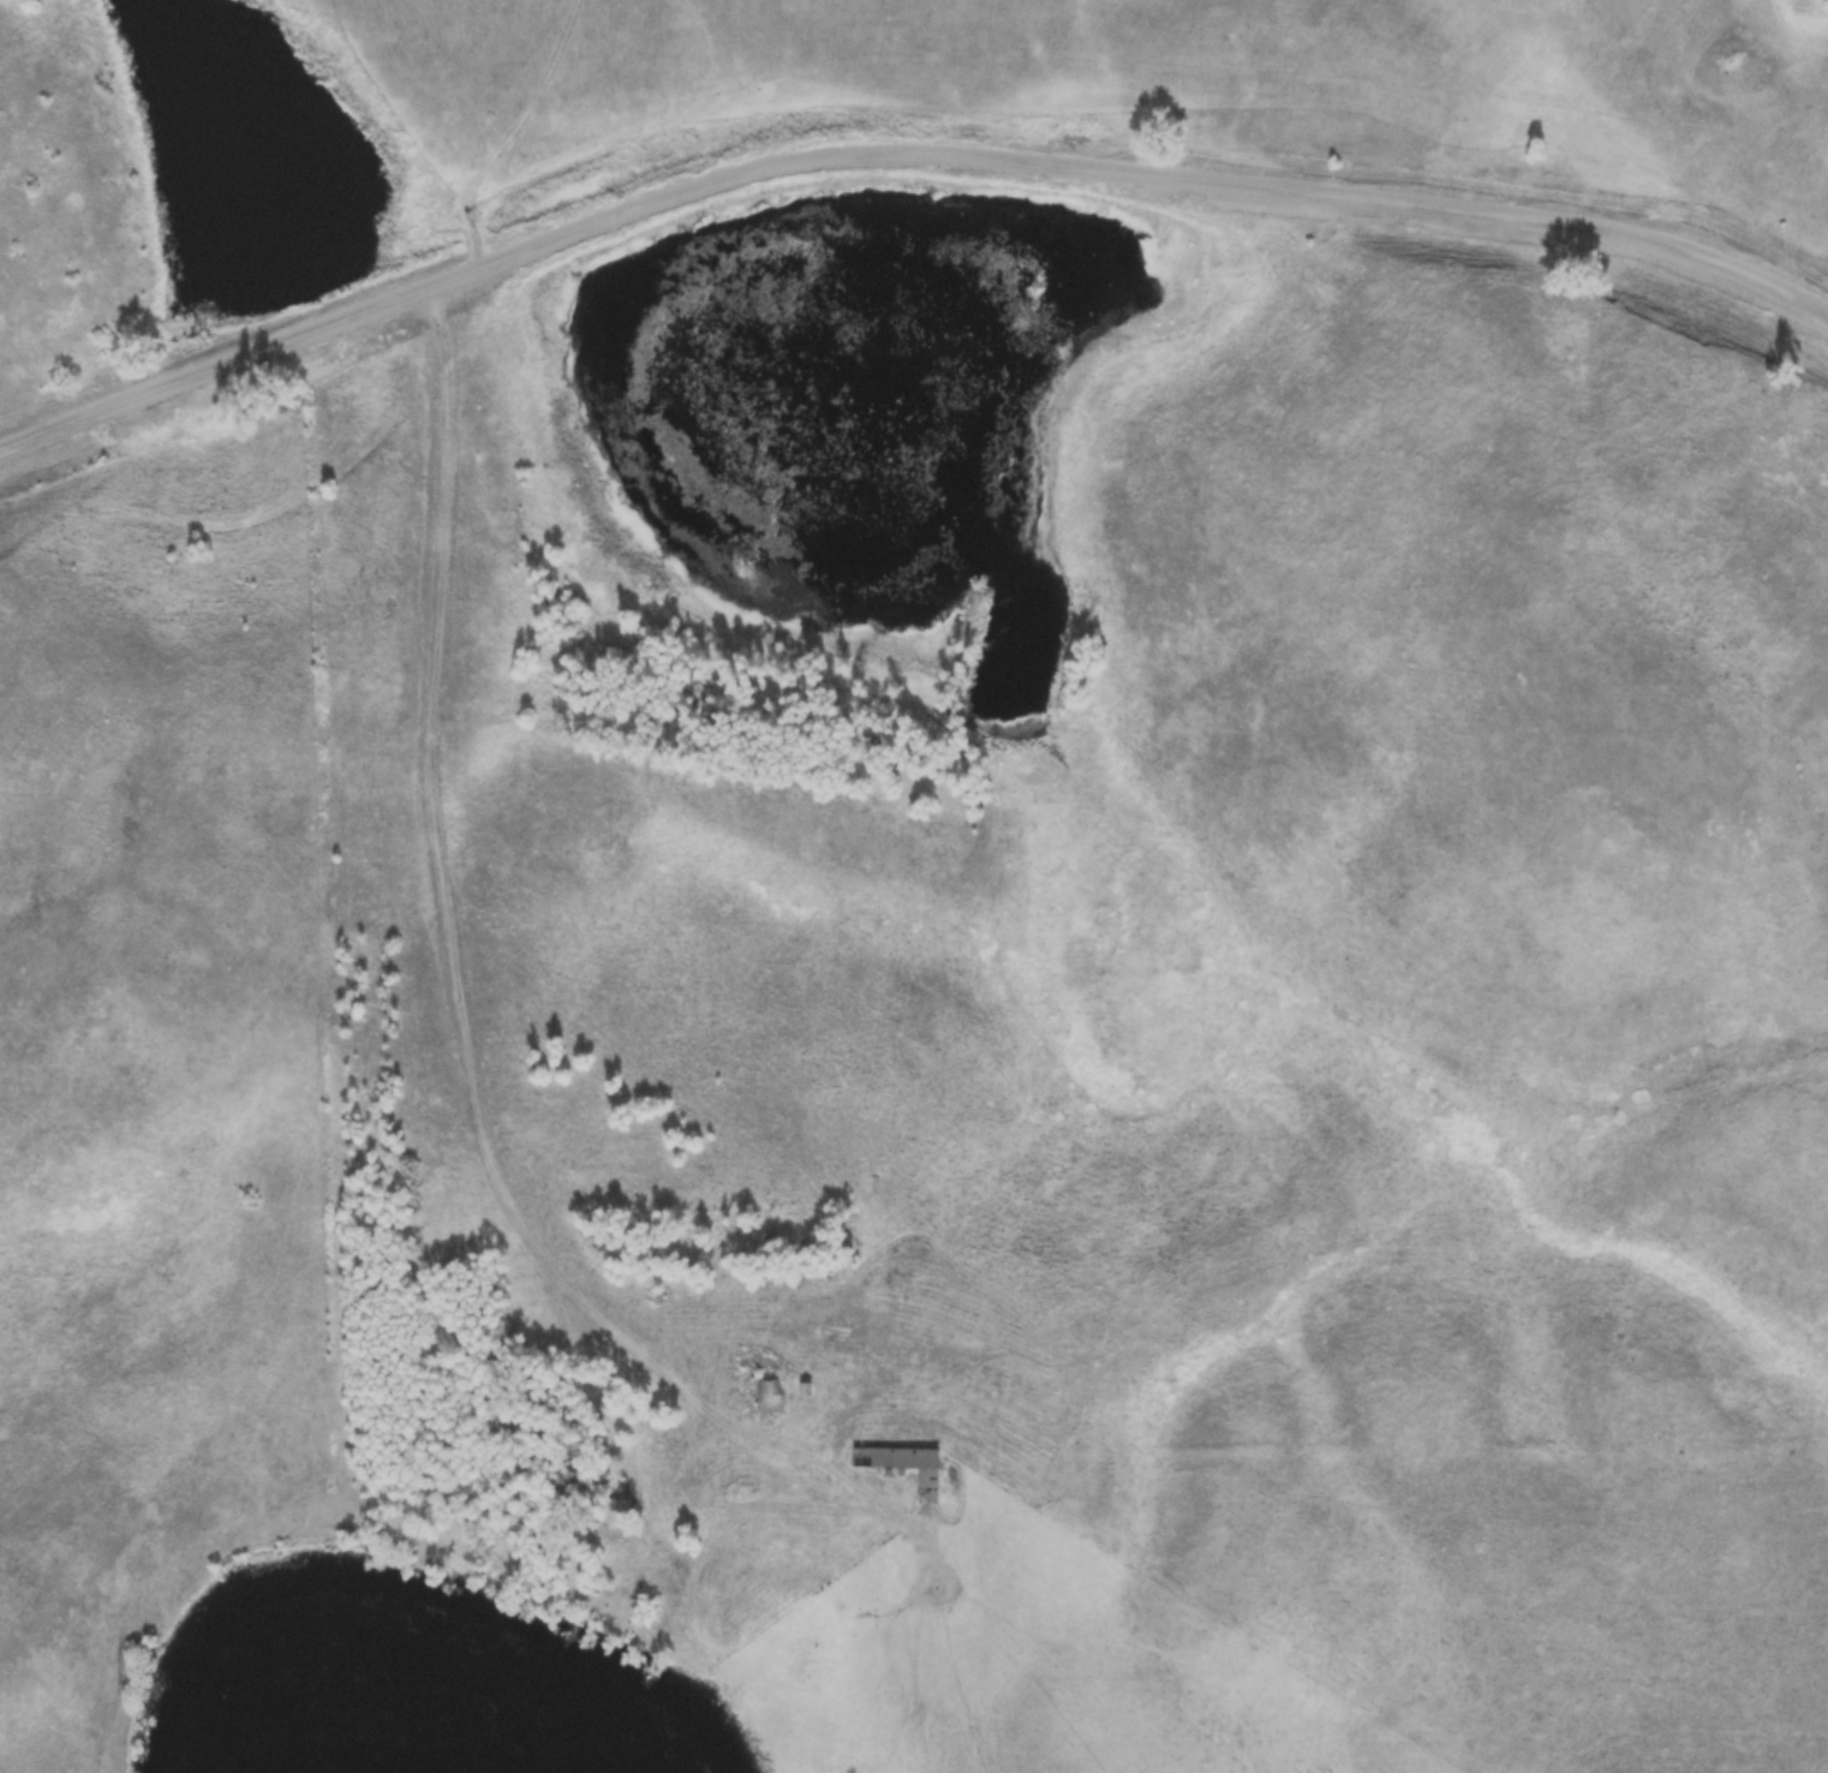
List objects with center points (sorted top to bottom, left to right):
road: (898, 157)
building: (769, 1397)
building: (904, 1464)

